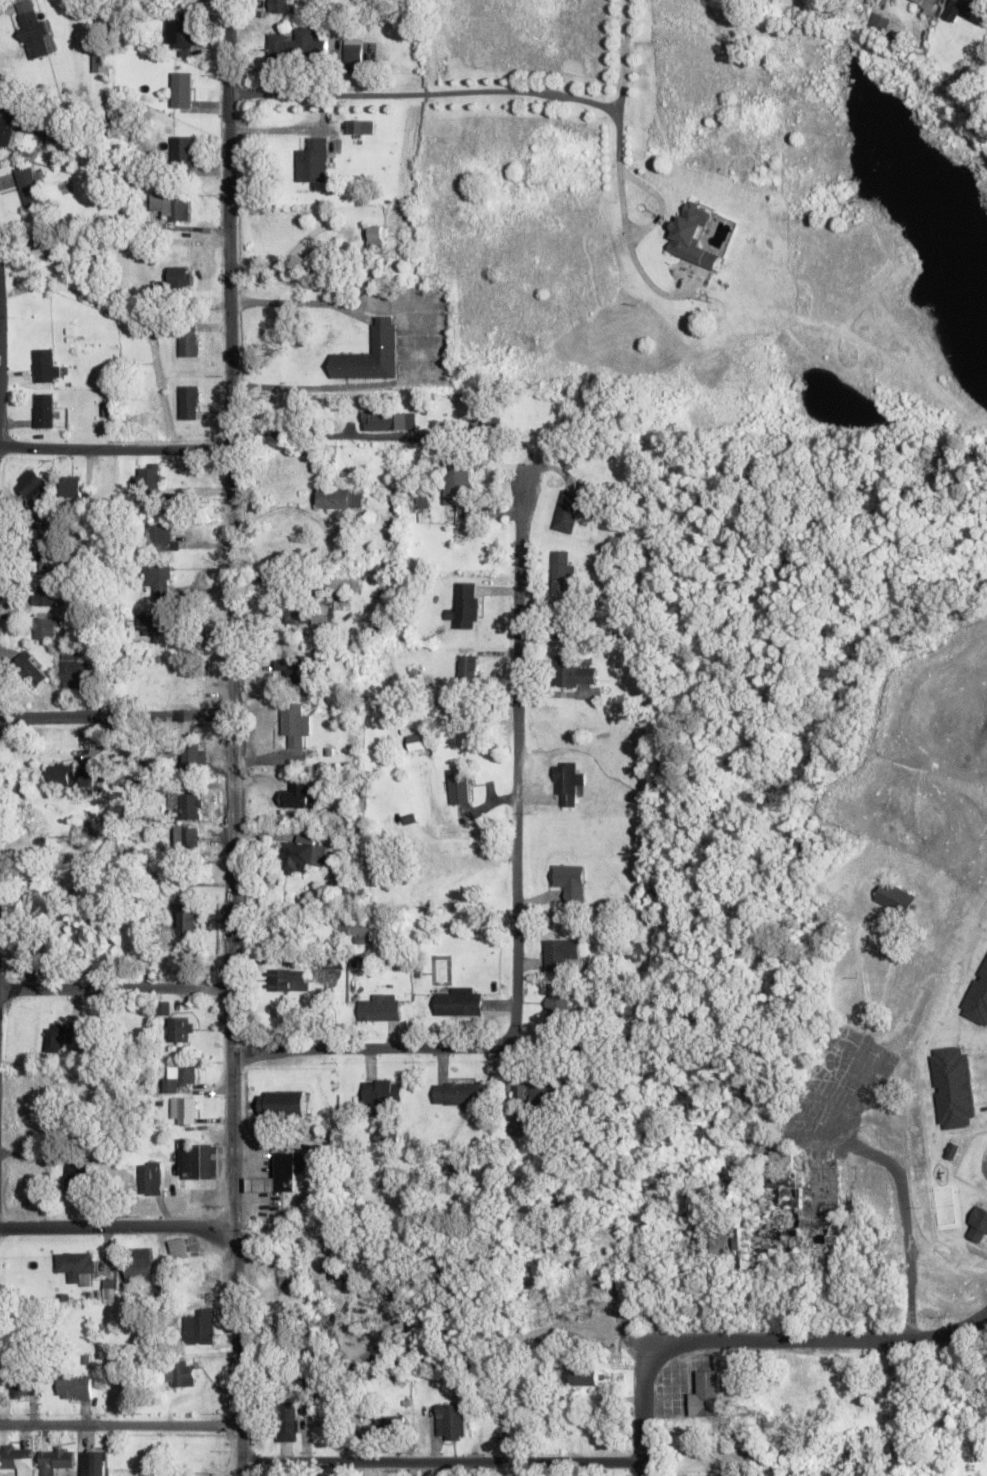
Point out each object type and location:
building: (927, 5)
building: (280, 6)
building: (968, 10)
building: (878, 23)
building: (33, 32)
building: (180, 34)
building: (297, 46)
building: (358, 53)
building: (99, 61)
building: (182, 89)
building: (7, 125)
building: (359, 127)
building: (181, 153)
building: (313, 161)
building: (28, 187)
building: (168, 206)
building: (692, 235)
building: (376, 237)
building: (58, 251)
building: (179, 278)
building: (187, 345)
building: (372, 354)
building: (45, 365)
building: (187, 402)
building: (43, 410)
building: (389, 420)
building: (492, 422)
building: (603, 443)
road: (114, 450)
building: (457, 478)
building: (146, 479)
building: (71, 486)
building: (35, 487)
building: (339, 498)
building: (567, 510)
building: (43, 527)
building: (157, 536)
building: (43, 561)
building: (563, 569)
building: (157, 578)
building: (340, 583)
building: (44, 594)
building: (465, 605)
building: (324, 613)
building: (298, 615)
building: (564, 620)
building: (155, 624)
building: (46, 628)
building: (467, 668)
building: (30, 669)
building: (292, 669)
building: (74, 670)
building: (574, 670)
road: (116, 719)
building: (294, 723)
road: (232, 738)
building: (418, 741)
road: (516, 753)
building: (193, 755)
building: (70, 775)
building: (567, 782)
building: (458, 786)
building: (297, 794)
building: (187, 806)
building: (186, 837)
building: (301, 853)
building: (571, 881)
building: (357, 892)
building: (894, 897)
building: (188, 917)
building: (357, 929)
building: (560, 952)
building: (290, 979)
road: (115, 990)
building: (459, 1002)
building: (558, 1003)
building: (380, 1008)
building: (179, 1029)
building: (57, 1038)
road: (388, 1049)
building: (178, 1076)
building: (462, 1093)
building: (537, 1093)
building: (383, 1097)
building: (282, 1102)
building: (35, 1103)
building: (184, 1110)
building: (519, 1125)
building: (387, 1136)
building: (198, 1161)
building: (77, 1173)
building: (277, 1175)
building: (394, 1177)
building: (151, 1178)
road: (912, 1185)
building: (820, 1198)
road: (117, 1227)
building: (791, 1235)
building: (742, 1244)
building: (179, 1247)
building: (75, 1262)
building: (139, 1263)
building: (110, 1290)
building: (199, 1326)
road: (806, 1342)
building: (179, 1373)
building: (585, 1375)
building: (909, 1378)
building: (0, 1383)
building: (23, 1387)
building: (75, 1387)
building: (706, 1394)
road: (642, 1409)
building: (287, 1420)
building: (450, 1421)
building: (689, 1425)
building: (391, 1426)
road: (120, 1427)
building: (17, 1458)
building: (55, 1460)
building: (93, 1463)
road: (441, 1463)
building: (698, 1475)

